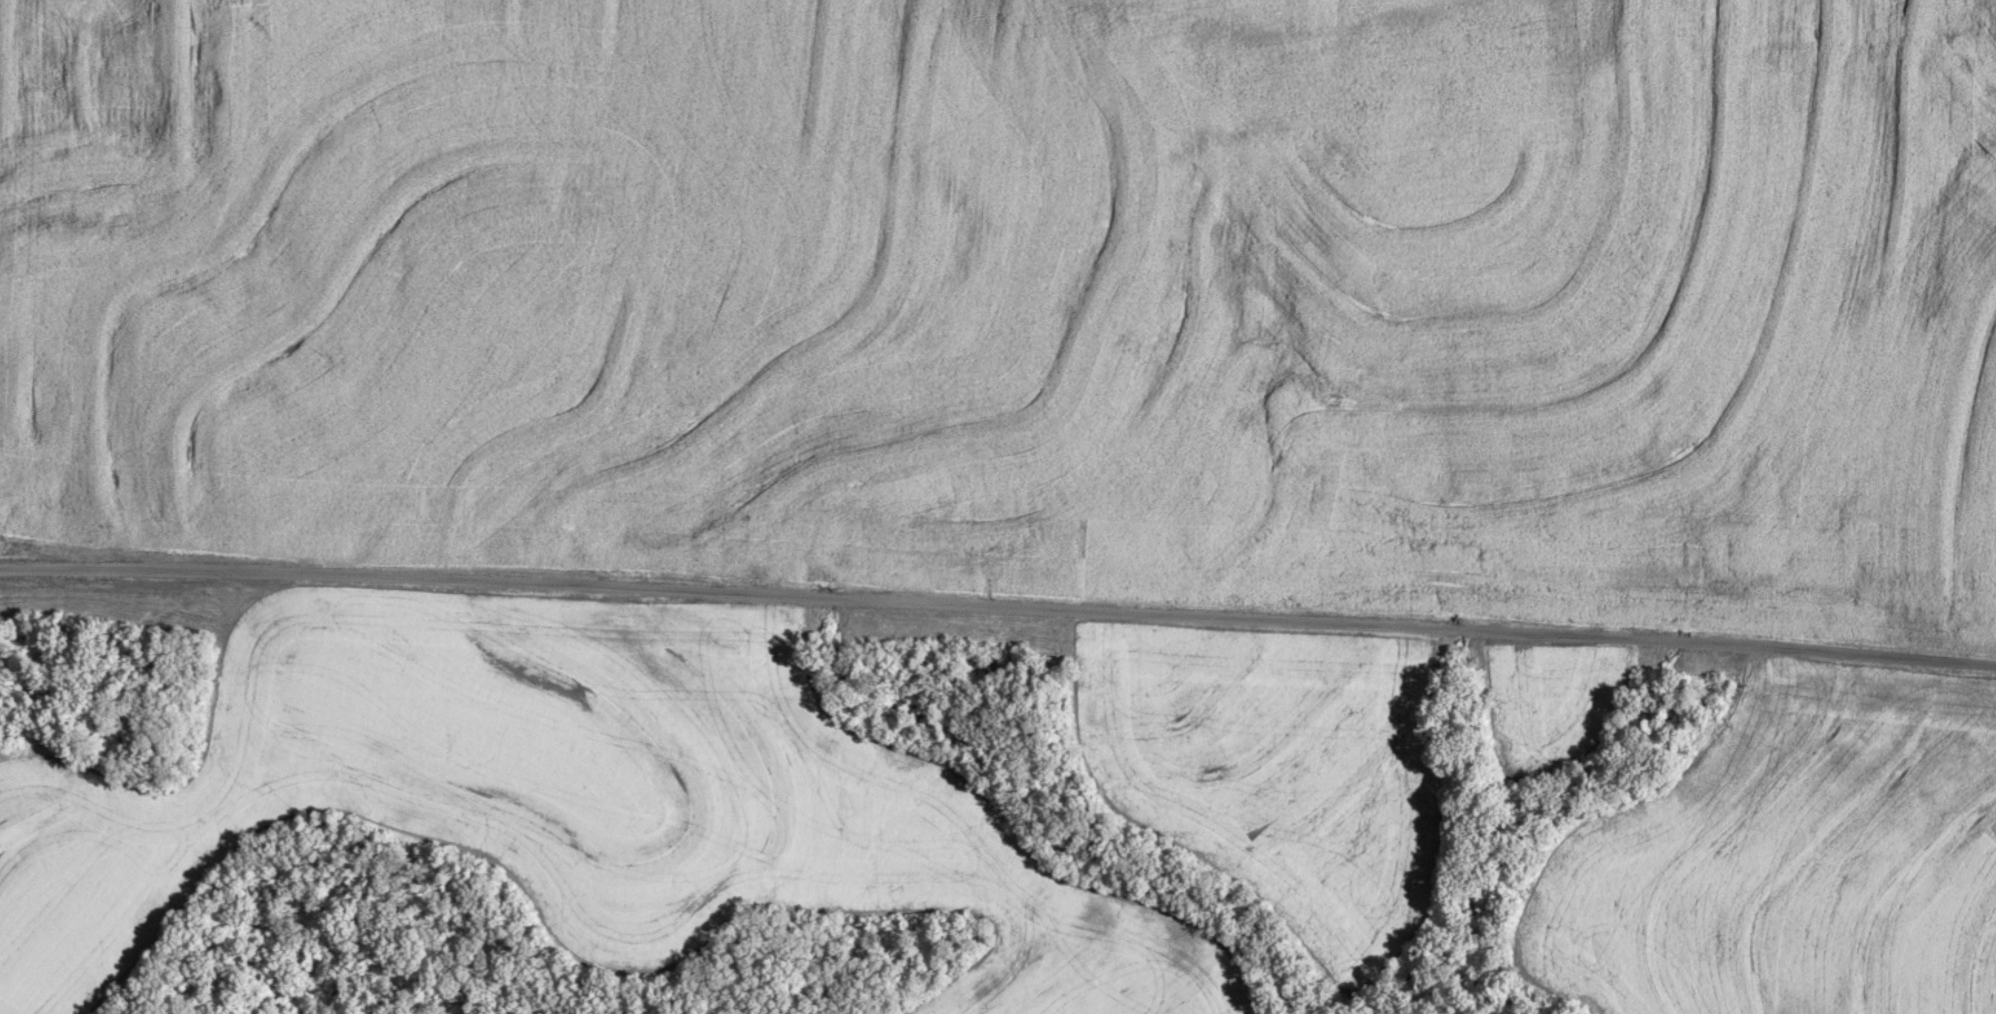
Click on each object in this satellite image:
road: (998, 603)

